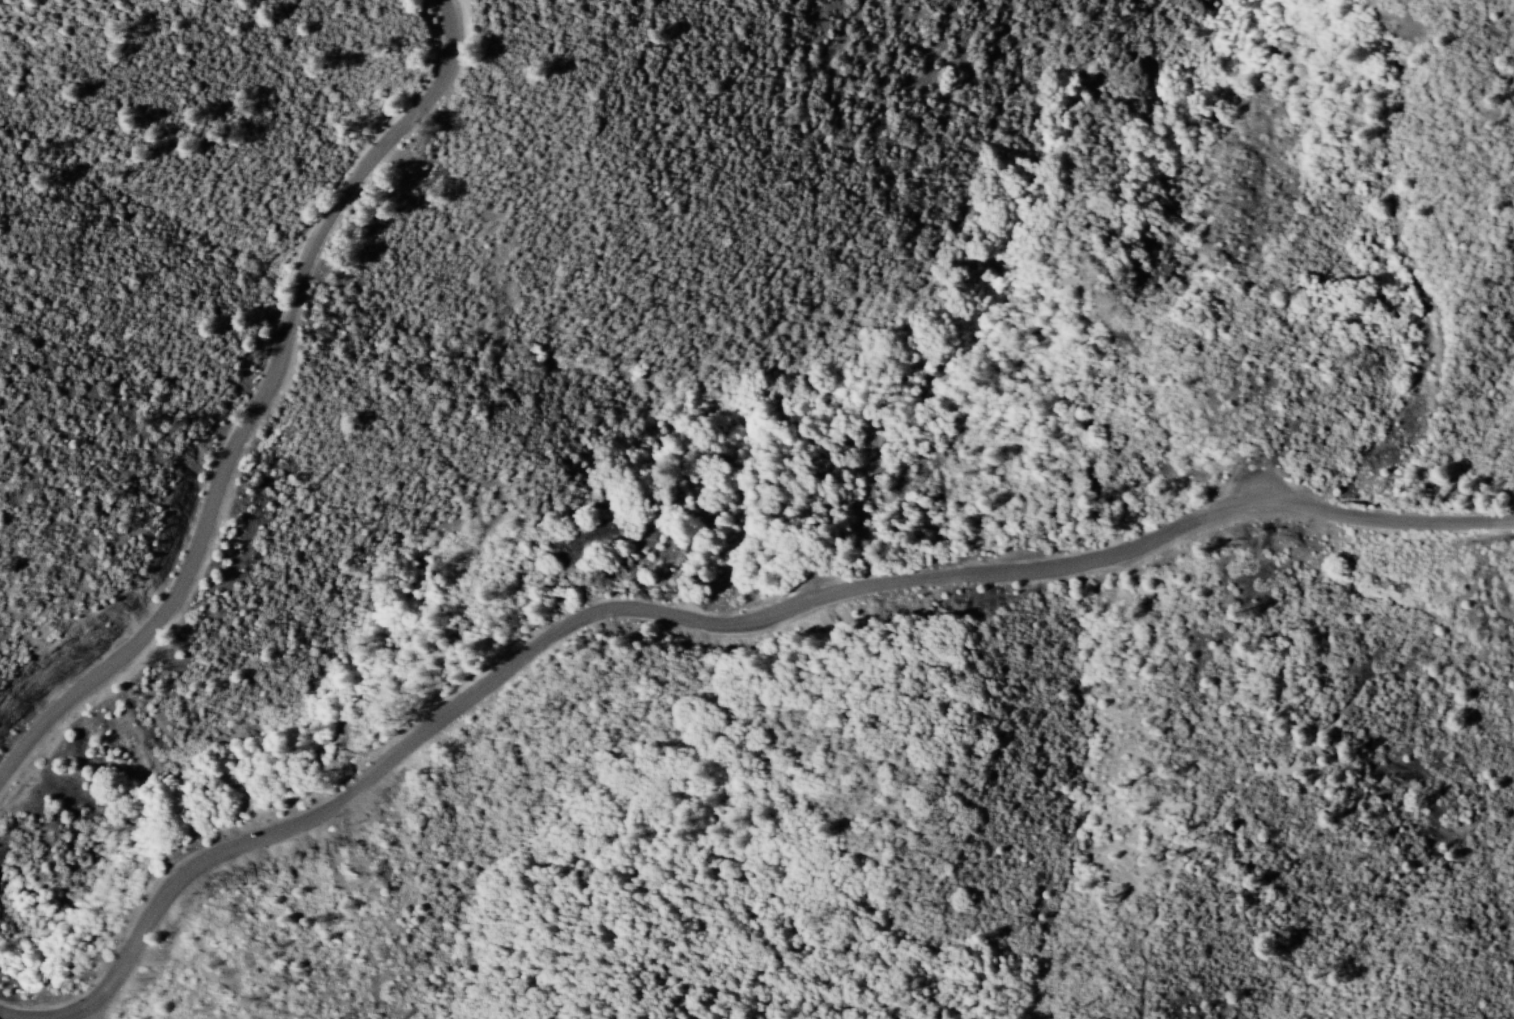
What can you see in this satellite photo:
road: (263, 409)
road: (690, 623)

